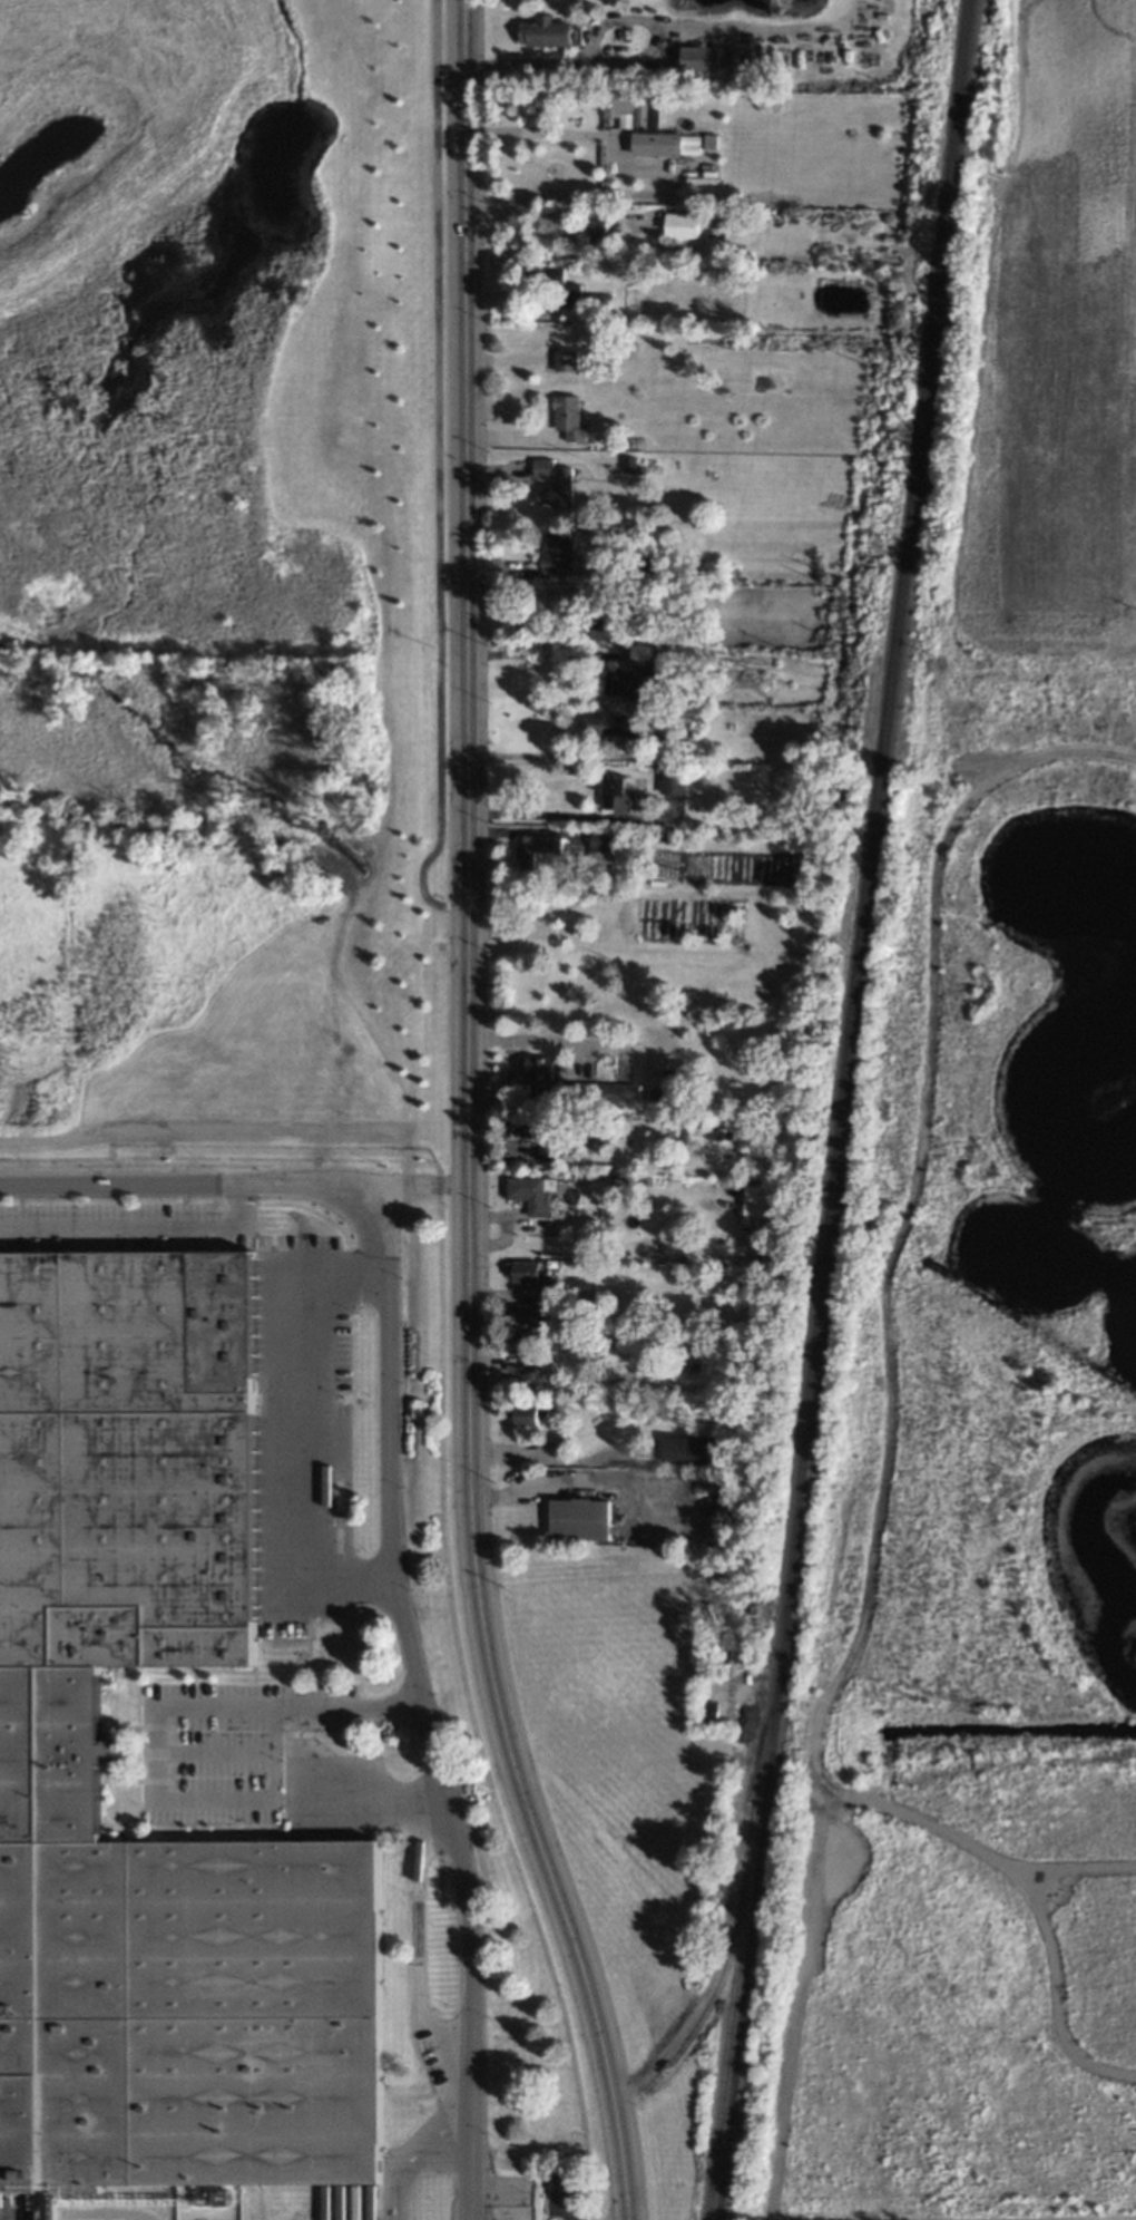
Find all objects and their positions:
building: (545, 32)
building: (698, 58)
road: (527, 62)
power tower: (927, 104)
building: (645, 125)
road: (527, 132)
building: (679, 225)
building: (590, 235)
building: (543, 276)
building: (572, 296)
building: (596, 301)
building: (564, 361)
power tower: (894, 378)
building: (567, 418)
road: (463, 454)
building: (627, 464)
road: (432, 474)
building: (551, 484)
building: (554, 552)
power tower: (869, 592)
road: (551, 654)
power tower: (771, 681)
building: (609, 724)
road: (549, 757)
building: (672, 782)
building: (615, 795)
building: (599, 845)
building: (535, 848)
road: (541, 1040)
building: (539, 1068)
road: (507, 1083)
building: (604, 1093)
railway: (842, 1109)
building: (531, 1132)
road: (229, 1133)
road: (437, 1133)
building: (548, 1153)
road: (403, 1187)
building: (531, 1192)
building: (752, 1202)
road: (354, 1208)
road: (908, 1220)
building: (526, 1272)
building: (530, 1415)
building: (689, 1450)
road: (560, 1484)
park: (980, 1517)
building: (578, 1519)
road: (473, 1574)
road: (272, 1753)
building: (52, 1755)
road: (150, 1764)
road: (851, 1800)
road: (1077, 1871)
road: (463, 1887)
railway: (737, 1935)
railway: (713, 1997)
road: (411, 2156)
building: (571, 2203)

